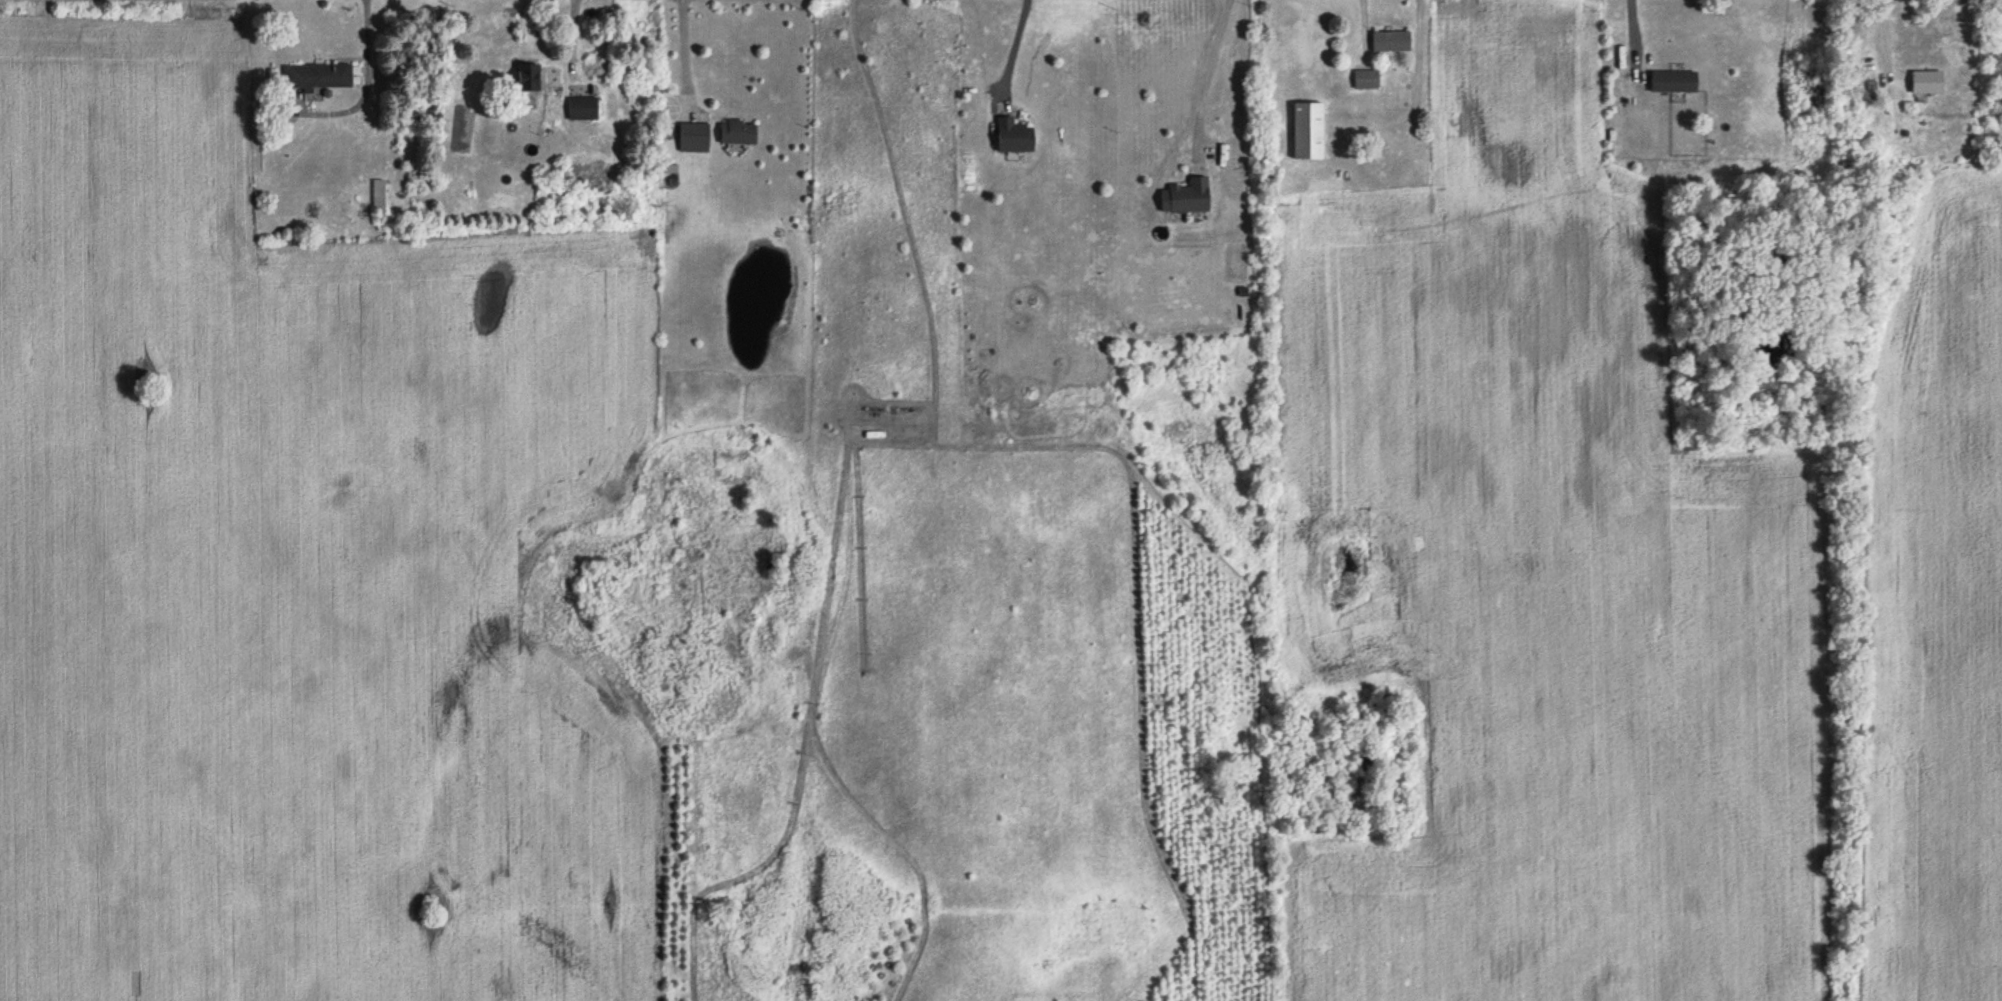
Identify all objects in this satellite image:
building: (1391, 43)
road: (1011, 45)
road: (1206, 72)
building: (319, 77)
building: (530, 78)
building: (1366, 80)
building: (1674, 82)
building: (1928, 83)
building: (583, 109)
building: (1309, 131)
building: (738, 133)
building: (1015, 137)
building: (378, 197)
building: (1191, 197)
building: (701, 199)

